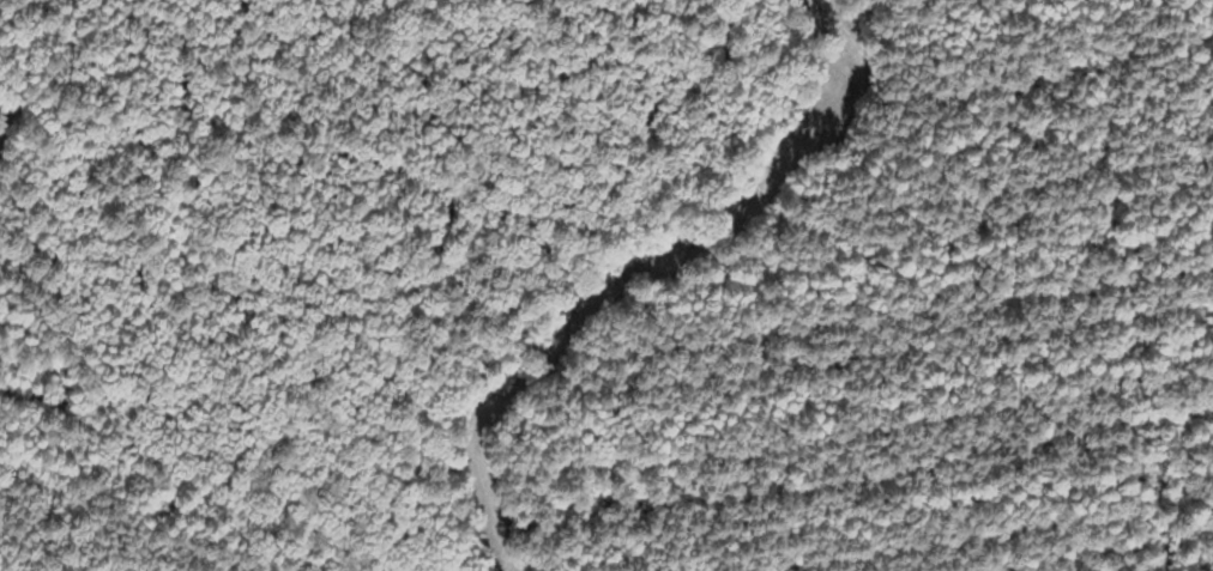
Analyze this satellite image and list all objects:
road: (1194, 43)

